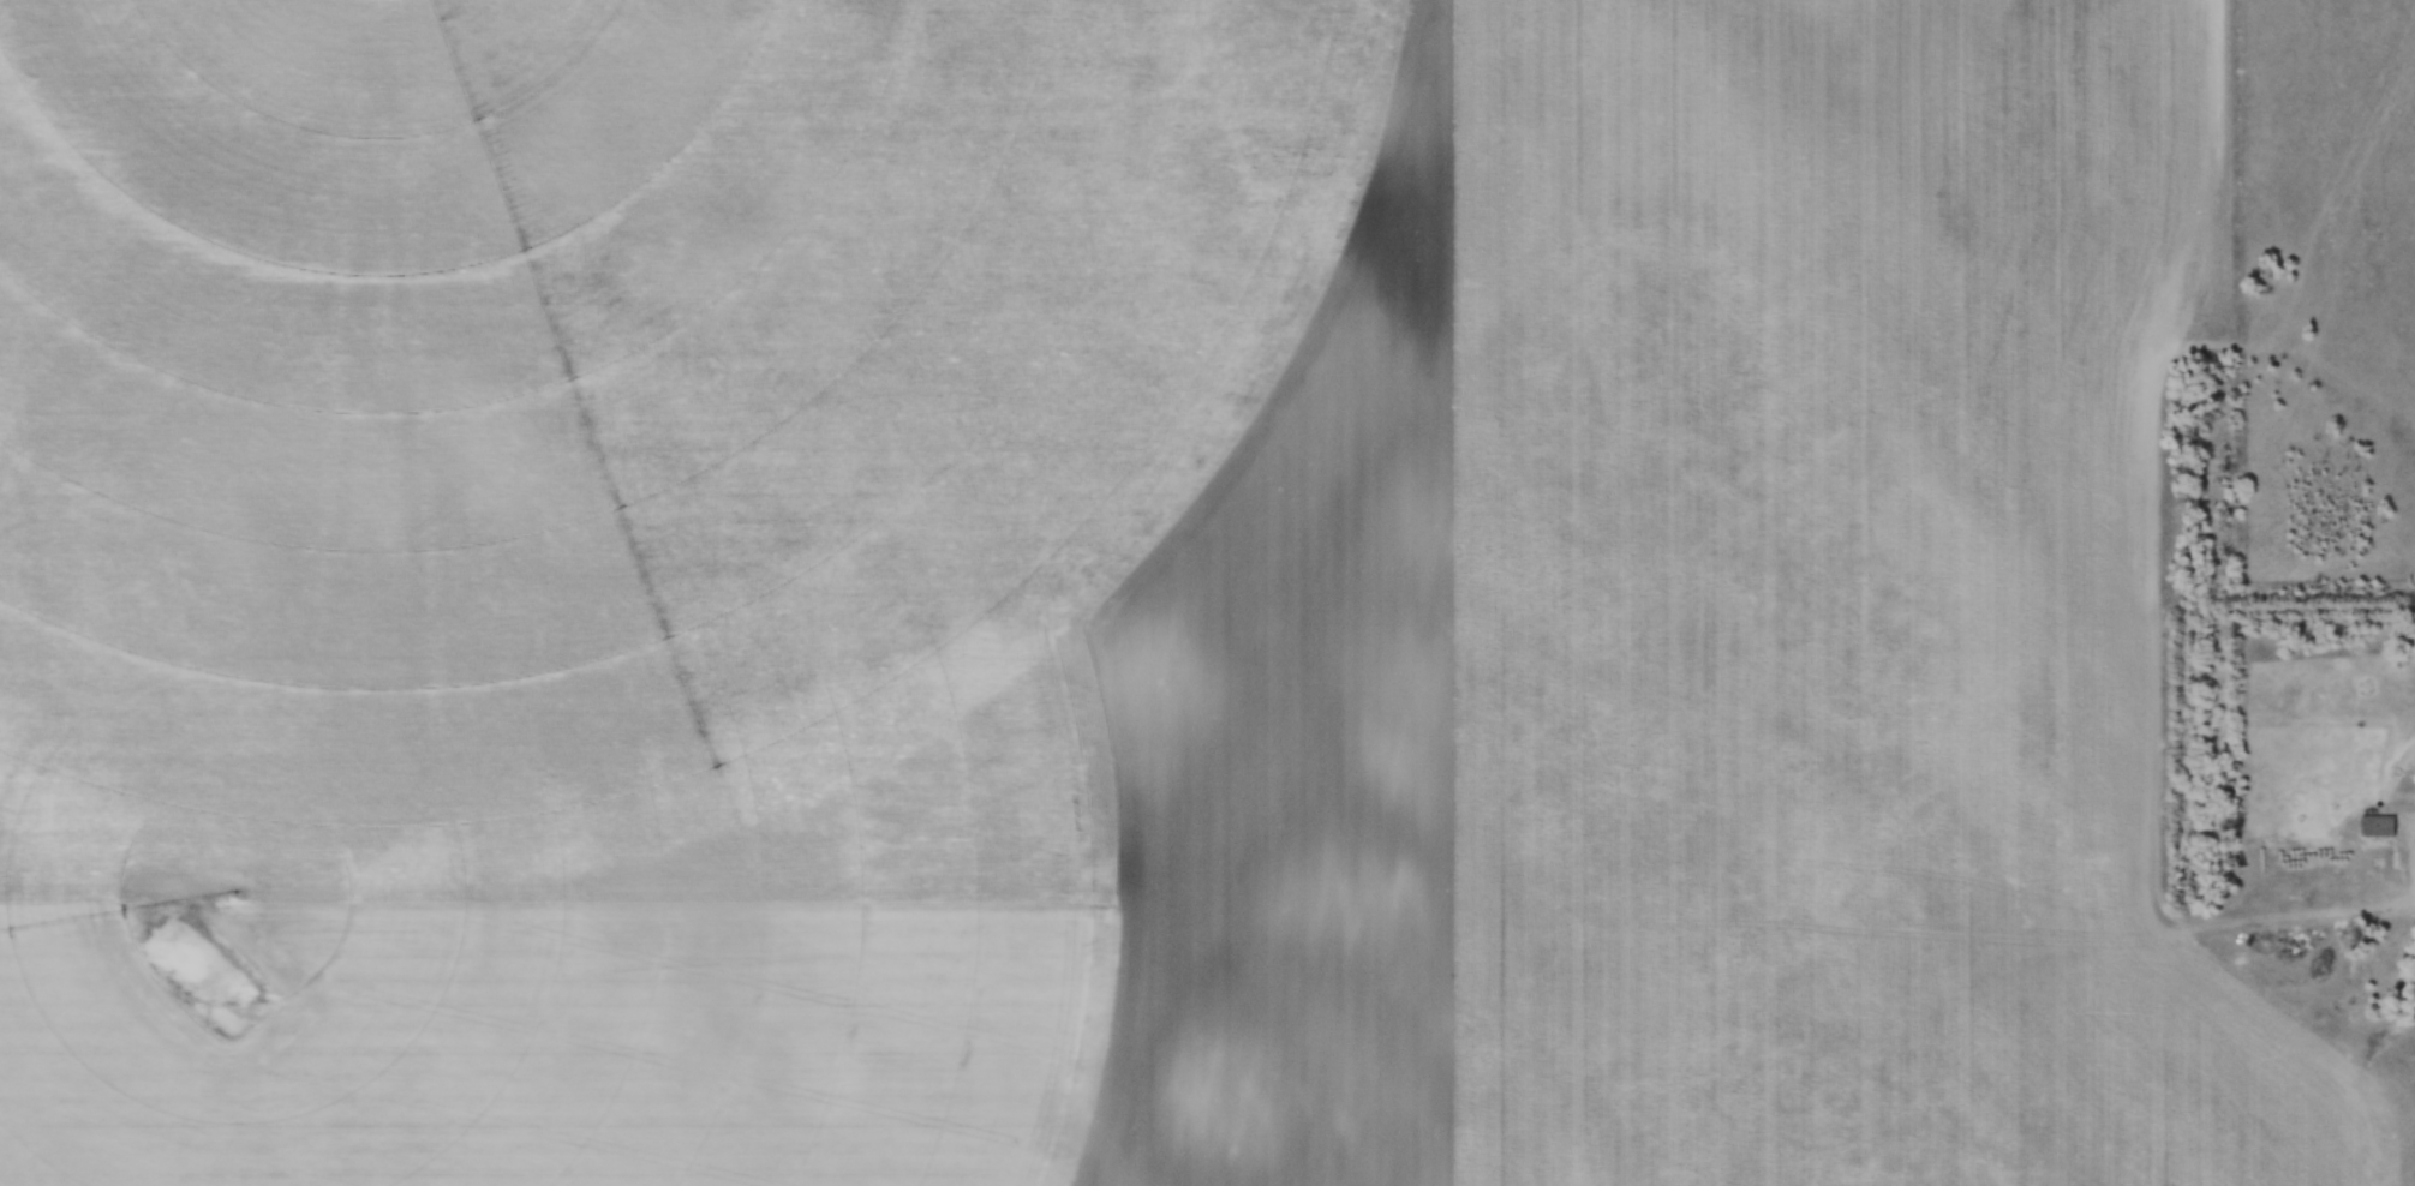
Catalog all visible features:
building: (2380, 826)

